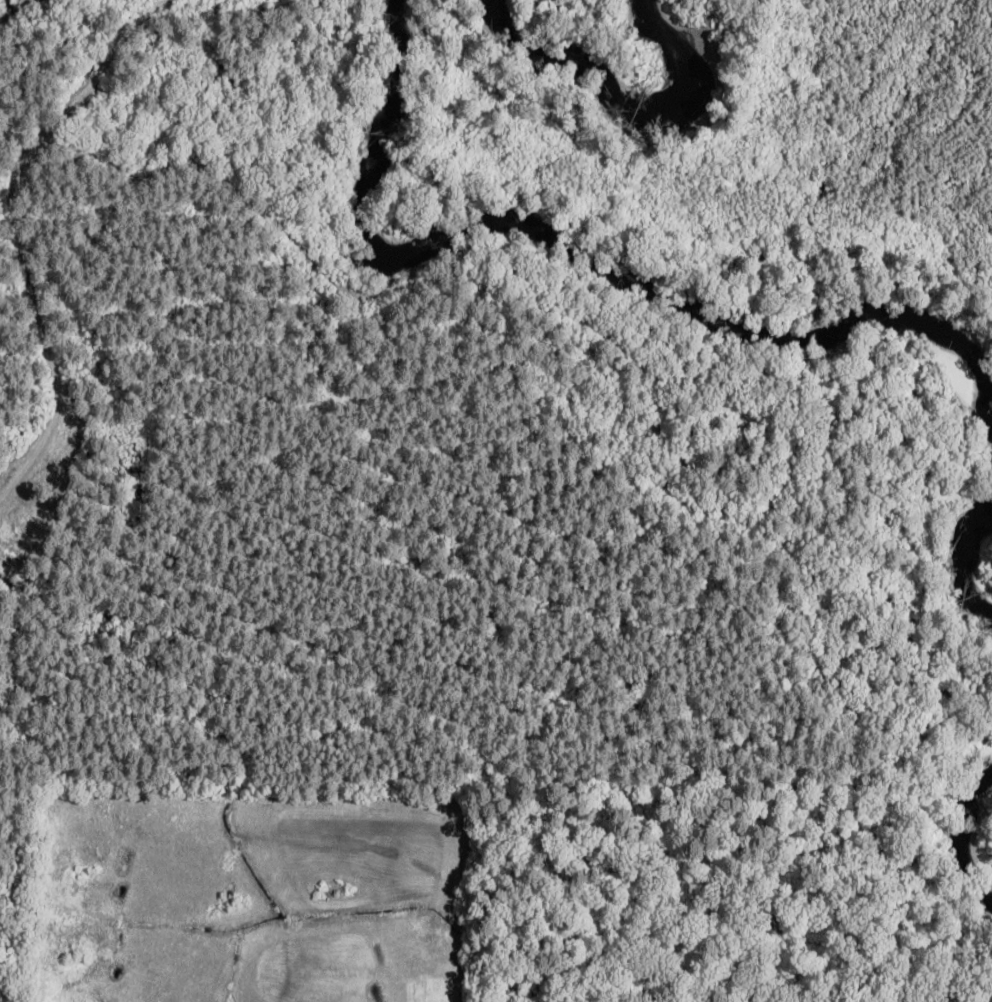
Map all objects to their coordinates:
river: (619, 109)
river: (575, 254)
river: (960, 560)
river: (958, 835)

